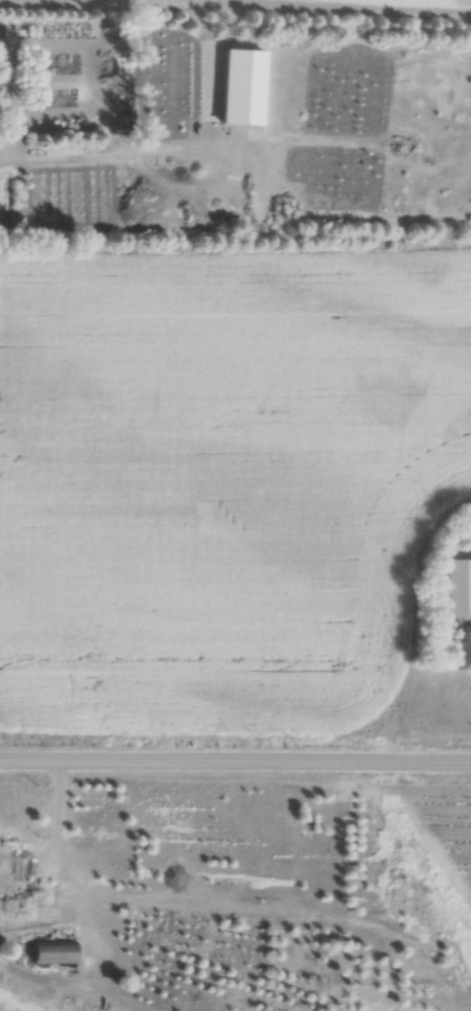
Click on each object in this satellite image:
road: (110, 142)
building: (457, 585)
road: (235, 763)
building: (51, 951)

